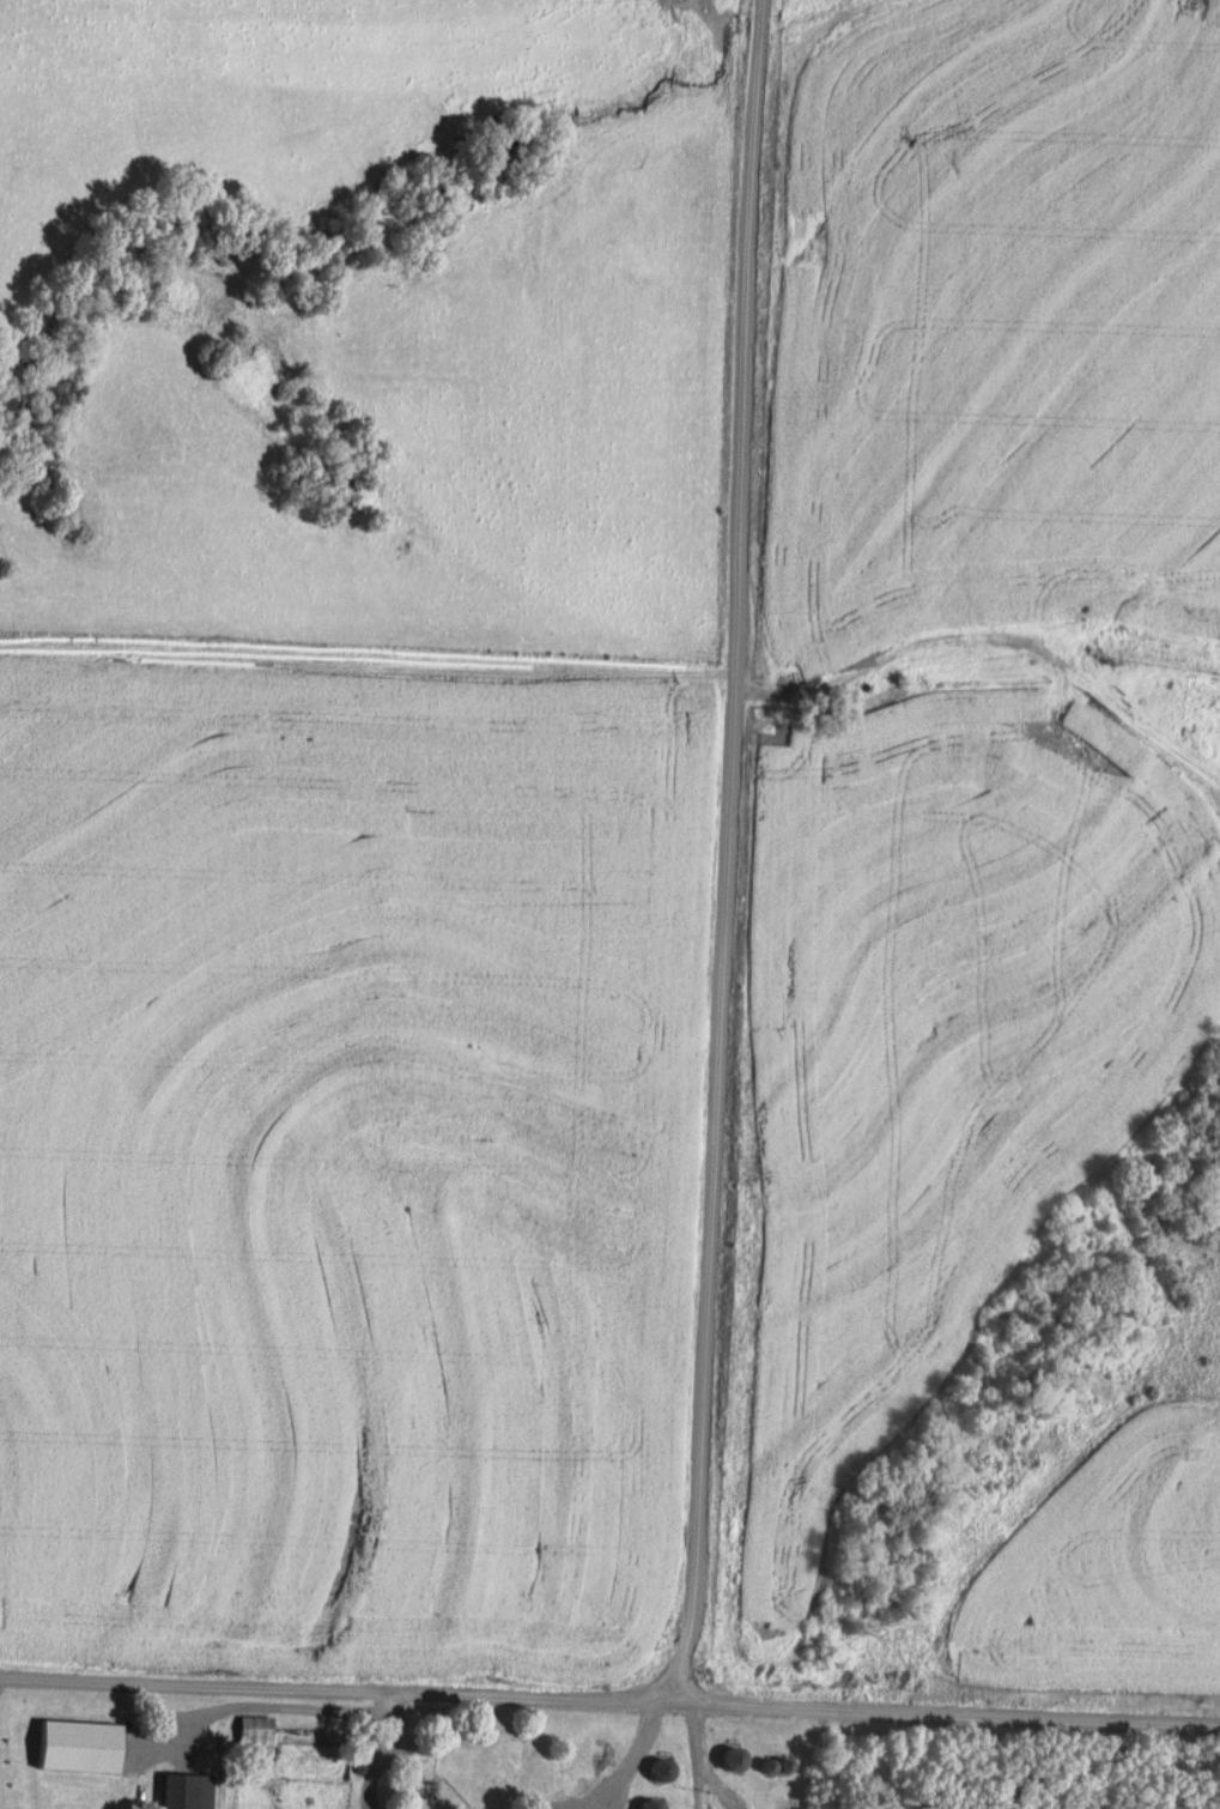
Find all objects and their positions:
road: (890, 643)
road: (729, 848)
crop: (347, 1156)
road: (341, 1682)
road: (353, 1696)
road: (275, 1698)
road: (694, 1698)
road: (963, 1716)
building: (249, 1734)
building: (74, 1747)
road: (384, 1747)
road: (705, 1753)
road: (638, 1754)
building: (453, 1755)
building: (730, 1759)
building: (772, 1767)
building: (657, 1771)
building: (383, 1789)
building: (181, 1792)
building: (649, 1805)

